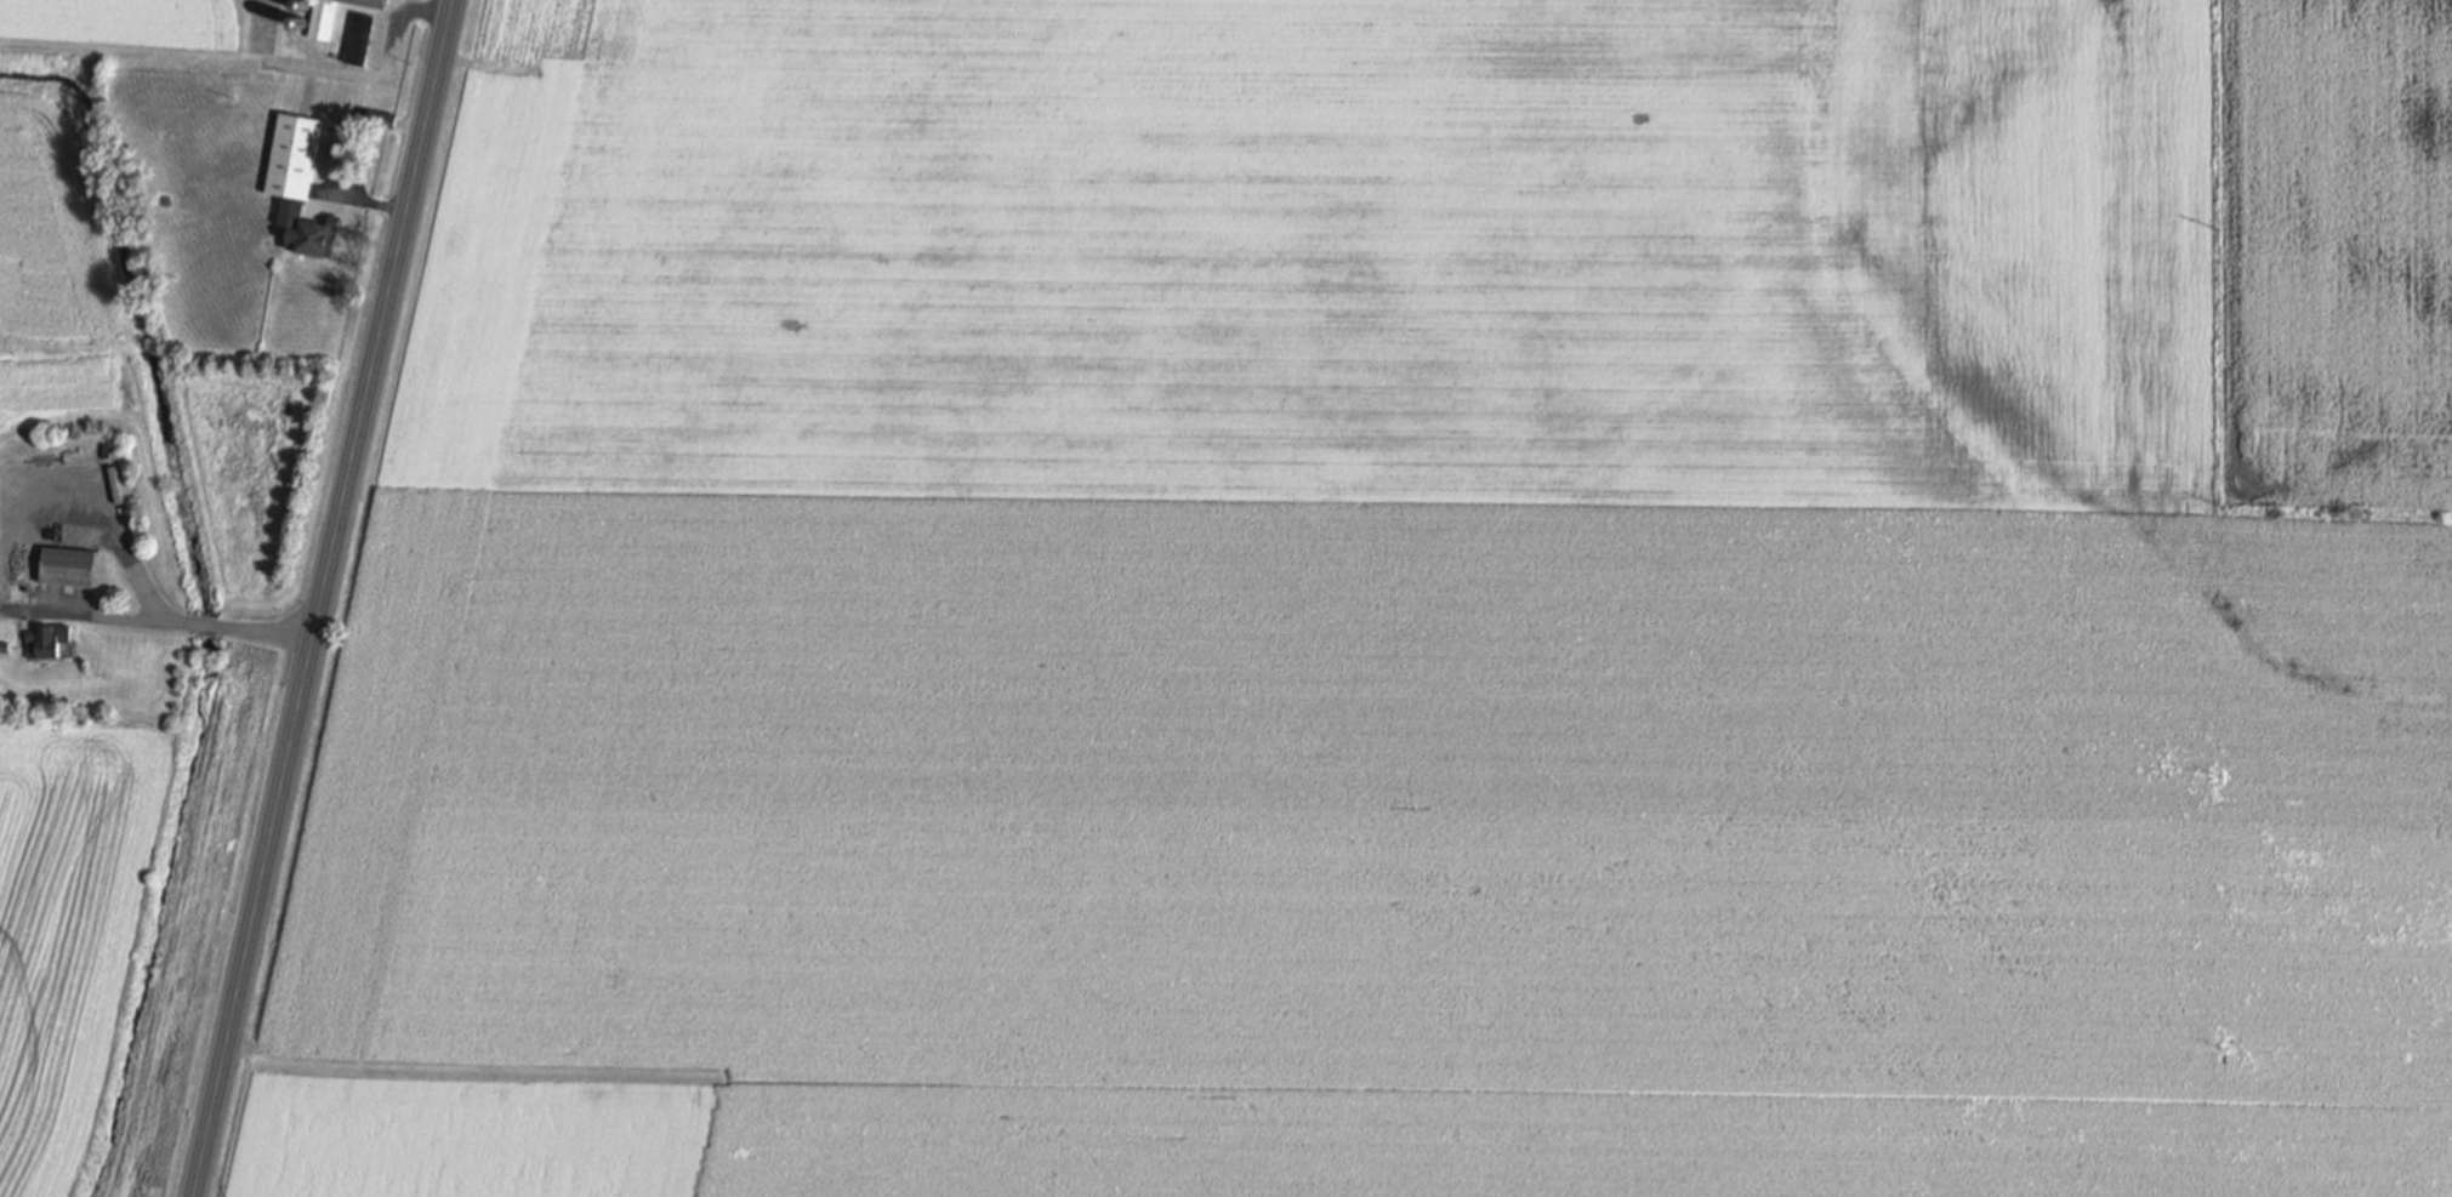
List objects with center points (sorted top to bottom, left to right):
building: (322, 24)
building: (359, 39)
building: (379, 119)
building: (294, 156)
building: (319, 236)
crop: (2339, 250)
building: (69, 566)
road: (323, 598)
road: (0, 600)
crop: (1375, 614)
building: (50, 643)
building: (5, 646)
building: (250, 889)
crop: (477, 1140)

